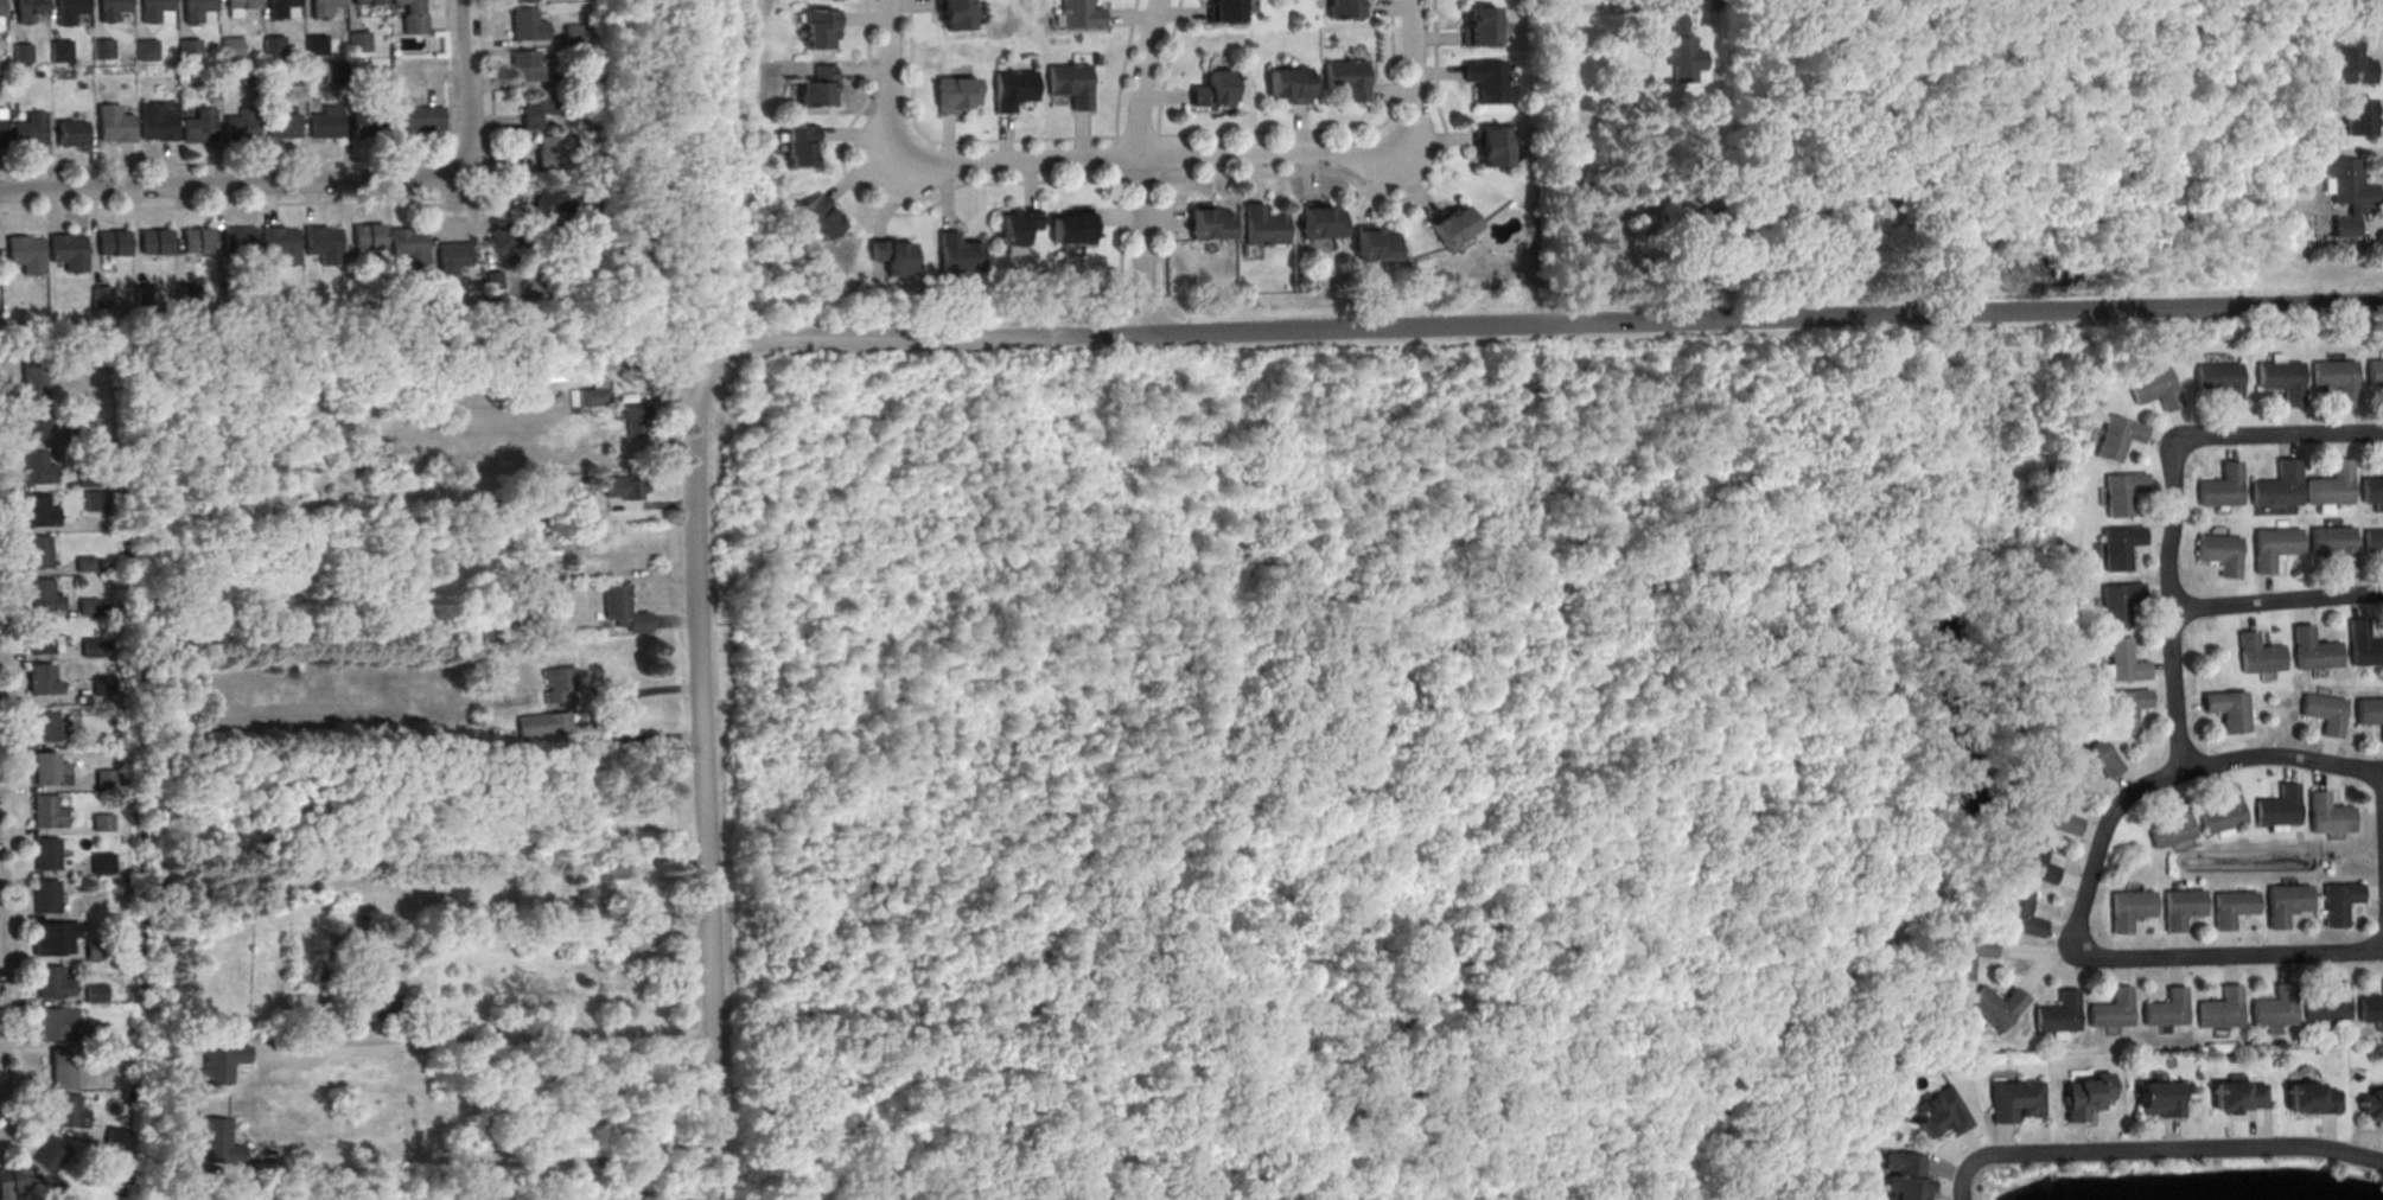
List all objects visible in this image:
building: (523, 0)
building: (368, 1)
building: (241, 4)
building: (1712, 5)
building: (321, 6)
building: (1, 7)
building: (280, 7)
road: (1606, 7)
building: (154, 8)
building: (197, 8)
building: (28, 9)
building: (70, 9)
building: (113, 9)
building: (1224, 11)
building: (1342, 12)
building: (1081, 14)
building: (412, 17)
building: (952, 17)
building: (525, 28)
building: (1479, 31)
building: (818, 32)
building: (573, 33)
building: (357, 42)
building: (1678, 42)
building: (314, 44)
building: (273, 45)
building: (230, 47)
building: (103, 49)
building: (189, 49)
building: (59, 50)
building: (146, 50)
building: (20, 52)
building: (2349, 63)
building: (525, 65)
road: (1123, 68)
road: (1166, 68)
building: (1346, 78)
road: (1414, 83)
road: (469, 84)
building: (1070, 84)
building: (1288, 84)
building: (1485, 84)
building: (817, 87)
road: (890, 89)
building: (1013, 89)
building: (1212, 89)
building: (955, 94)
building: (536, 109)
building: (2357, 116)
building: (412, 117)
building: (363, 123)
building: (157, 126)
building: (114, 127)
building: (283, 128)
building: (324, 128)
road: (1334, 129)
building: (238, 130)
building: (30, 133)
building: (197, 133)
building: (1, 136)
building: (71, 136)
road: (1139, 136)
road: (950, 140)
building: (799, 145)
building: (1491, 151)
building: (552, 152)
road: (1159, 157)
road: (1119, 158)
road: (1145, 159)
road: (299, 161)
road: (1562, 161)
road: (1135, 166)
road: (1139, 178)
road: (230, 185)
building: (2345, 192)
road: (645, 193)
road: (1388, 197)
building: (552, 203)
road: (203, 208)
road: (886, 211)
building: (820, 217)
building: (1320, 221)
building: (1210, 223)
building: (1017, 225)
building: (1071, 225)
building: (1262, 225)
building: (1452, 225)
building: (368, 235)
road: (1162, 236)
building: (240, 237)
building: (197, 238)
building: (280, 240)
building: (323, 240)
building: (502, 240)
road: (1120, 240)
building: (154, 241)
building: (113, 242)
building: (407, 242)
building: (1375, 243)
building: (452, 254)
building: (957, 254)
building: (68, 255)
building: (892, 255)
building: (25, 257)
building: (187, 292)
building: (101, 295)
road: (1760, 319)
road: (900, 342)
road: (1795, 357)
building: (2374, 375)
building: (33, 377)
building: (2336, 382)
building: (2282, 383)
road: (764, 385)
building: (2220, 385)
building: (2154, 390)
building: (592, 401)
building: (633, 421)
building: (33, 428)
road: (2277, 435)
building: (2117, 440)
building: (36, 472)
building: (87, 481)
building: (2279, 489)
building: (2330, 489)
building: (624, 491)
building: (2220, 491)
building: (2122, 492)
building: (2371, 493)
building: (94, 504)
road: (649, 506)
building: (38, 515)
building: (2372, 544)
building: (2120, 547)
building: (2333, 547)
building: (2273, 549)
building: (37, 555)
building: (2219, 555)
building: (83, 567)
building: (38, 596)
road: (2275, 601)
building: (2118, 602)
building: (620, 609)
building: (87, 611)
road: (2167, 612)
road: (669, 621)
building: (39, 642)
building: (2363, 649)
building: (89, 651)
building: (2312, 653)
building: (2257, 658)
building: (2123, 660)
building: (39, 684)
building: (554, 684)
building: (101, 689)
road: (878, 697)
road: (1226, 697)
building: (2126, 708)
building: (2323, 711)
building: (2228, 713)
building: (2369, 713)
road: (600, 721)
building: (541, 725)
building: (42, 729)
road: (2280, 758)
building: (2092, 762)
building: (40, 772)
building: (104, 783)
road: (7, 784)
road: (1906, 796)
road: (697, 799)
building: (2276, 806)
building: (2222, 812)
building: (43, 813)
building: (2054, 813)
building: (2326, 815)
building: (101, 825)
building: (2171, 826)
road: (2382, 831)
building: (45, 857)
building: (97, 862)
building: (2034, 864)
building: (611, 868)
road: (794, 879)
building: (650, 896)
building: (44, 898)
building: (2283, 902)
building: (2336, 902)
building: (2179, 907)
building: (2230, 907)
building: (2127, 908)
building: (2018, 918)
road: (541, 933)
building: (44, 939)
building: (93, 950)
building: (1963, 957)
road: (2117, 959)
building: (50, 983)
building: (91, 994)
building: (376, 996)
building: (2327, 1003)
building: (2370, 1007)
building: (1993, 1008)
building: (2273, 1008)
building: (2164, 1009)
building: (2218, 1009)
building: (2109, 1010)
building: (2057, 1013)
building: (55, 1025)
building: (94, 1036)
road: (474, 1038)
building: (218, 1062)
building: (62, 1071)
building: (2084, 1096)
building: (2236, 1096)
road: (942, 1098)
building: (2158, 1098)
building: (2308, 1099)
building: (2012, 1100)
building: (2371, 1104)
building: (69, 1111)
building: (1939, 1112)
road: (32, 1115)
building: (115, 1138)
building: (215, 1142)
road: (2158, 1151)
building: (51, 1155)
road: (476, 1158)
road: (1942, 1170)
road: (1866, 1175)
building: (1901, 1175)
road: (1932, 1180)
building: (12, 1181)
road: (1833, 1182)
road: (1937, 1195)

